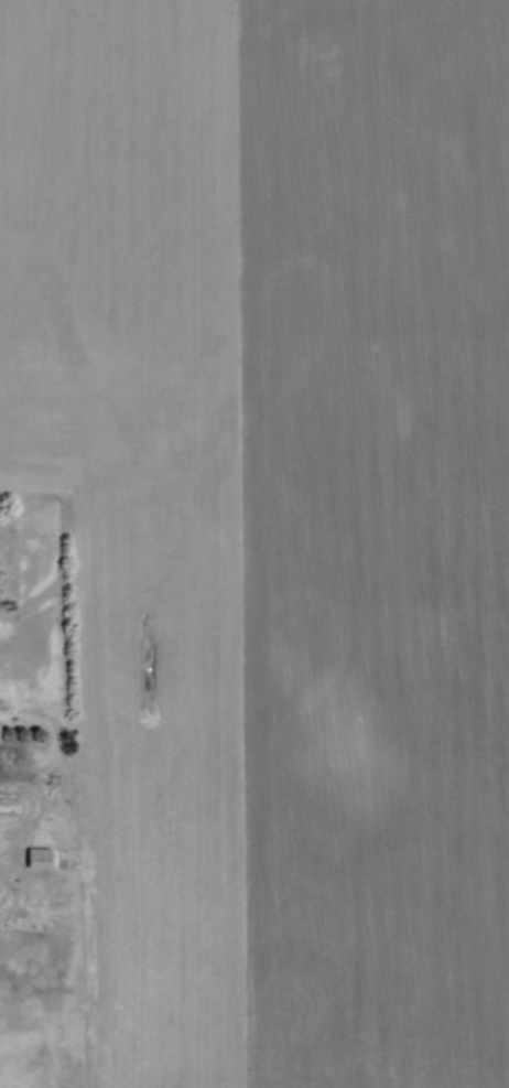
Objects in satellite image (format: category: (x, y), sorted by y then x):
crop: (274, 519)
silo: (7, 730)
silo: (22, 730)
silo: (39, 731)
road: (18, 750)
building: (39, 854)

